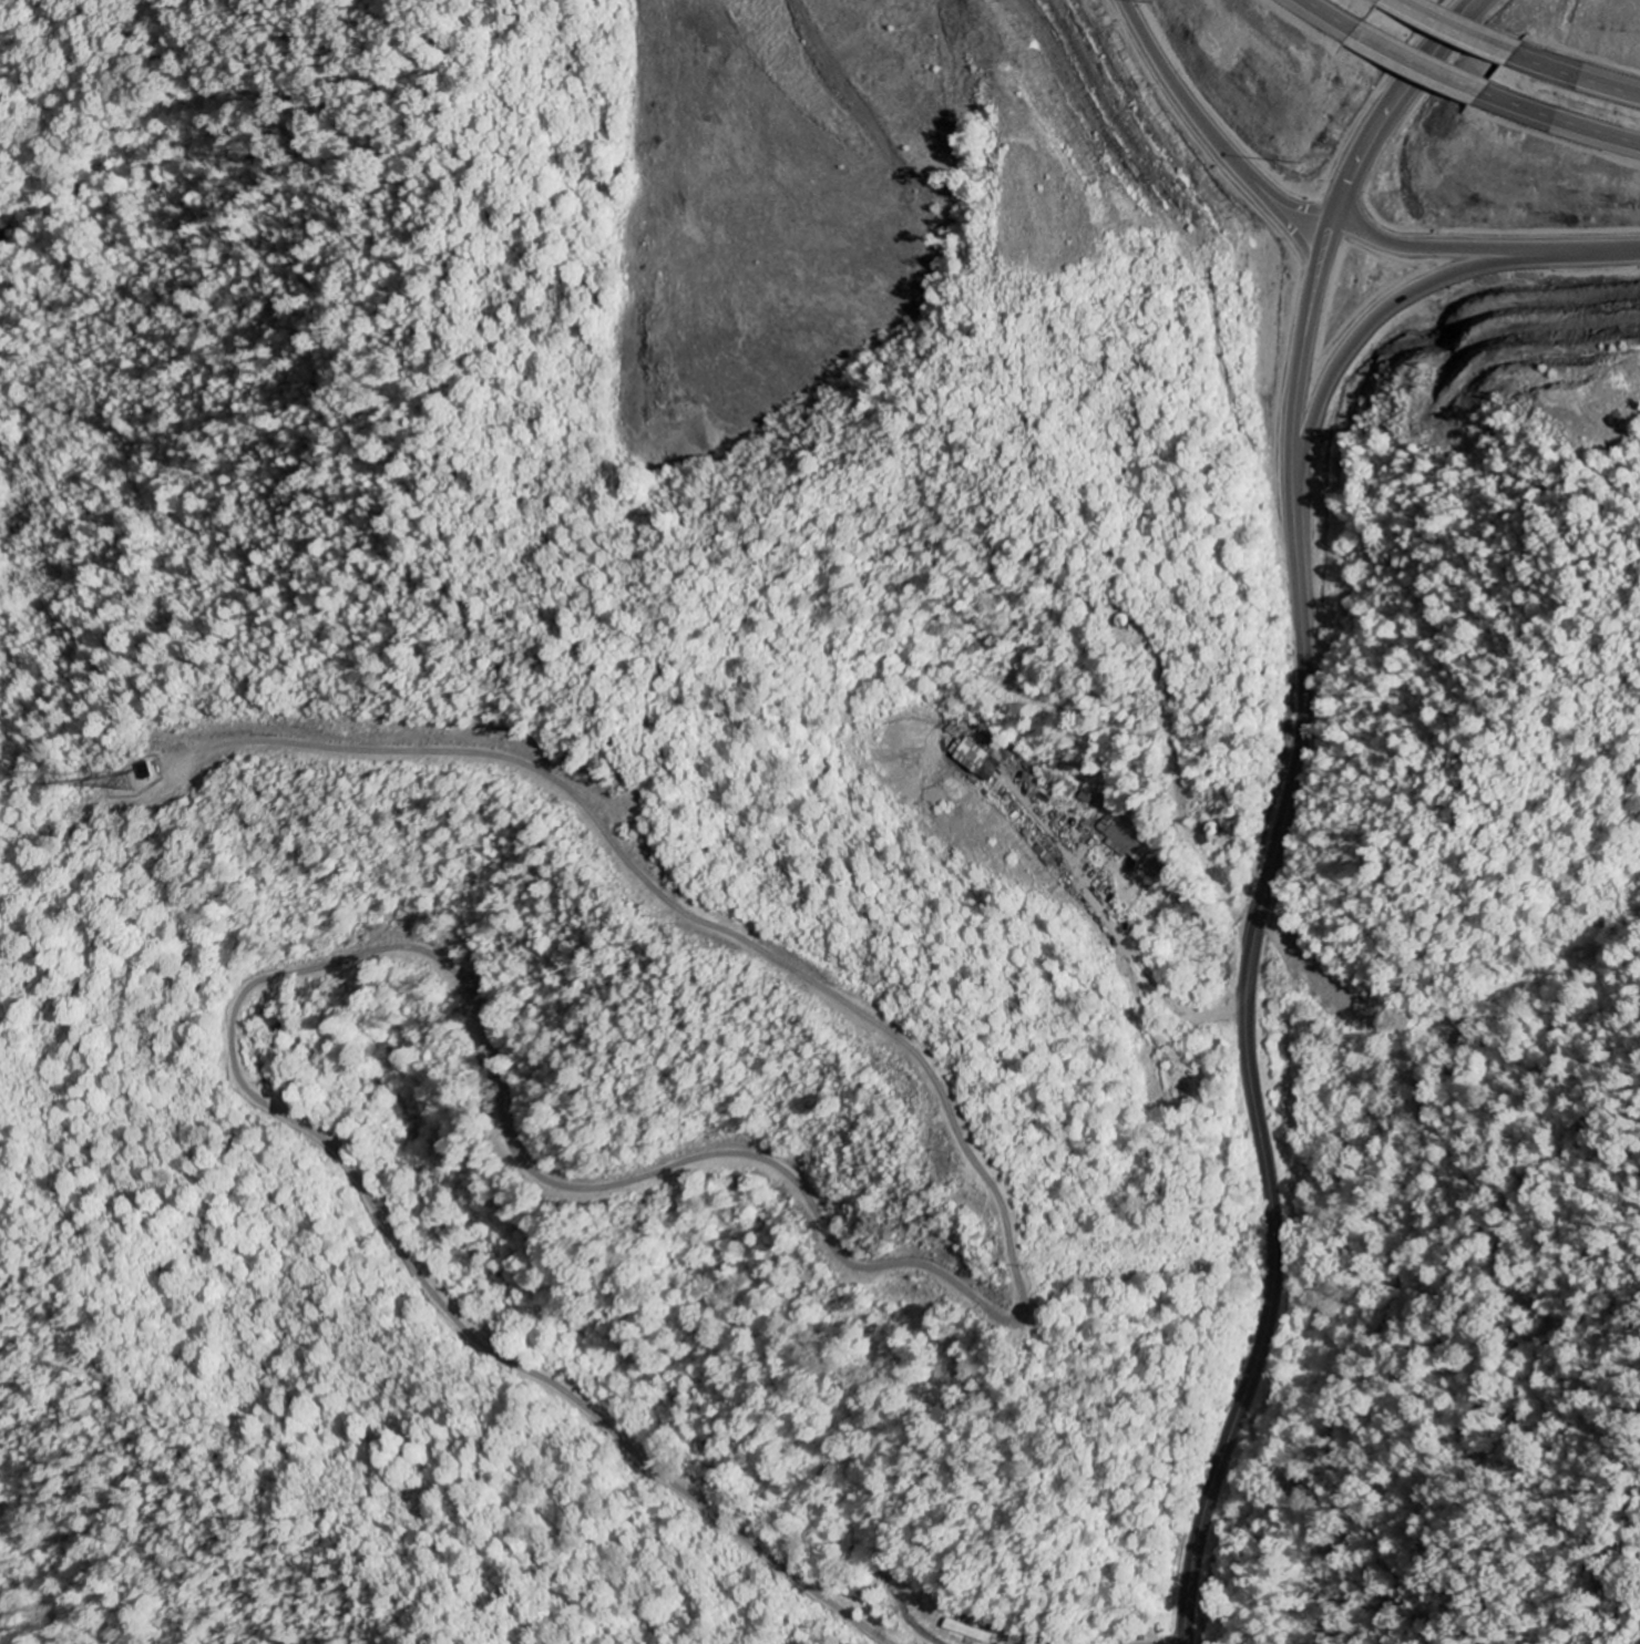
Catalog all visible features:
road: (1392, 2)
road: (1310, 19)
road: (1455, 31)
road: (1414, 65)
road: (1576, 80)
road: (1557, 123)
road: (1193, 131)
road: (1285, 225)
road: (1483, 247)
road: (1377, 312)
building: (981, 761)
road: (1287, 808)
building: (1128, 835)

